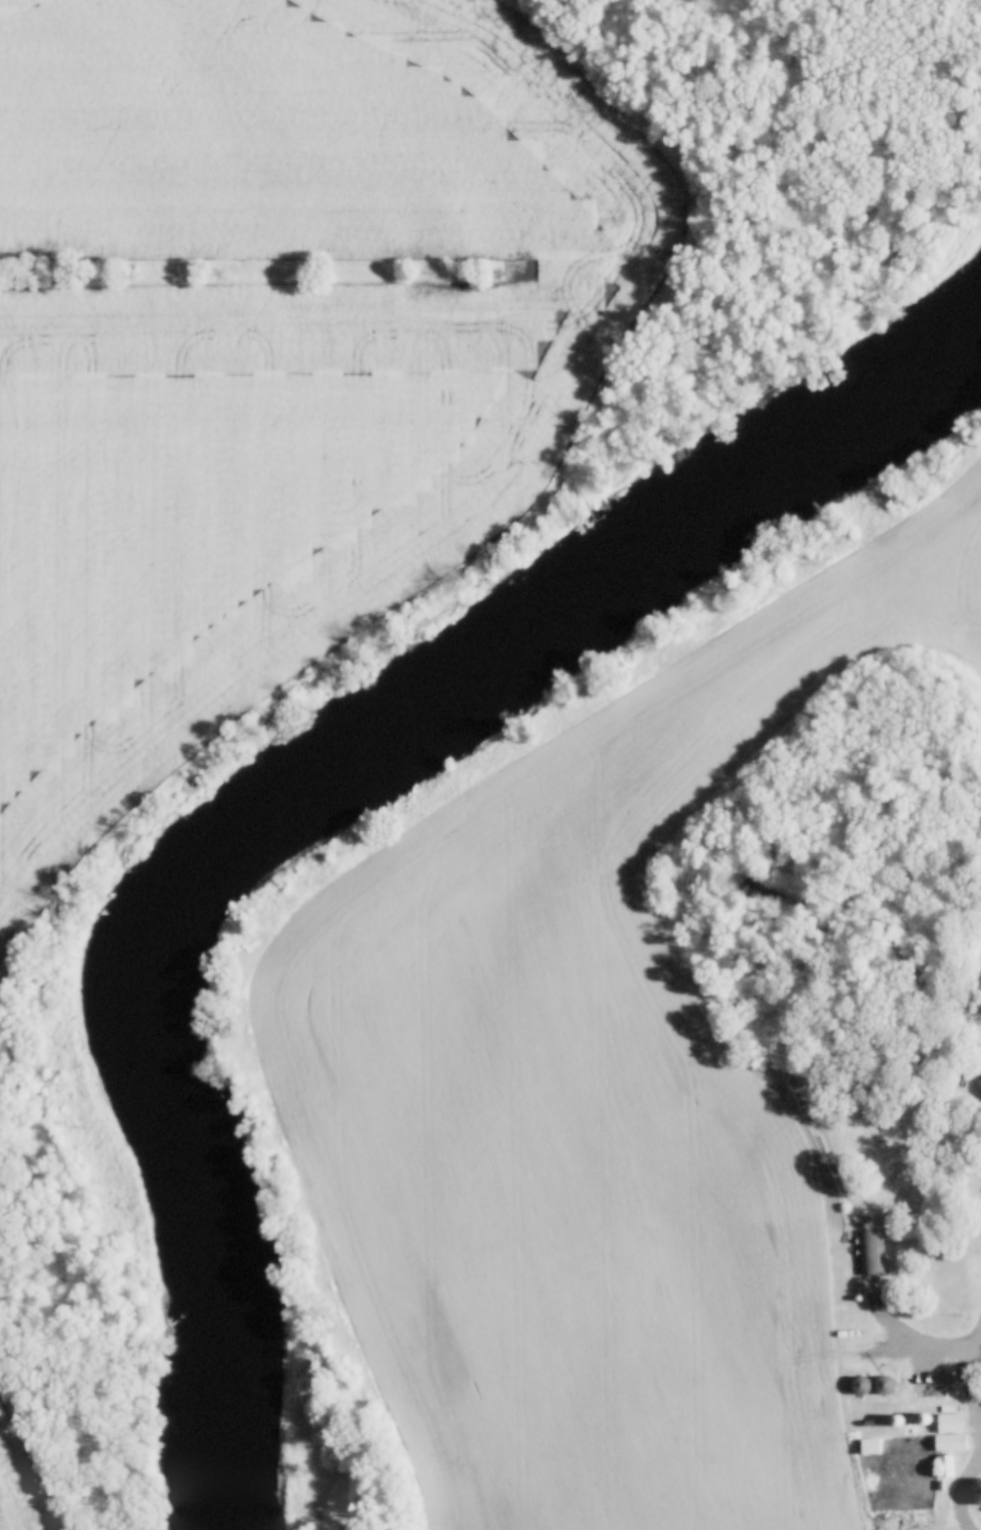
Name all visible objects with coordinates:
river: (300, 783)
building: (979, 1079)
building: (869, 1252)
road: (980, 1359)
building: (880, 1386)
building: (947, 1432)
building: (867, 1446)
building: (942, 1466)

